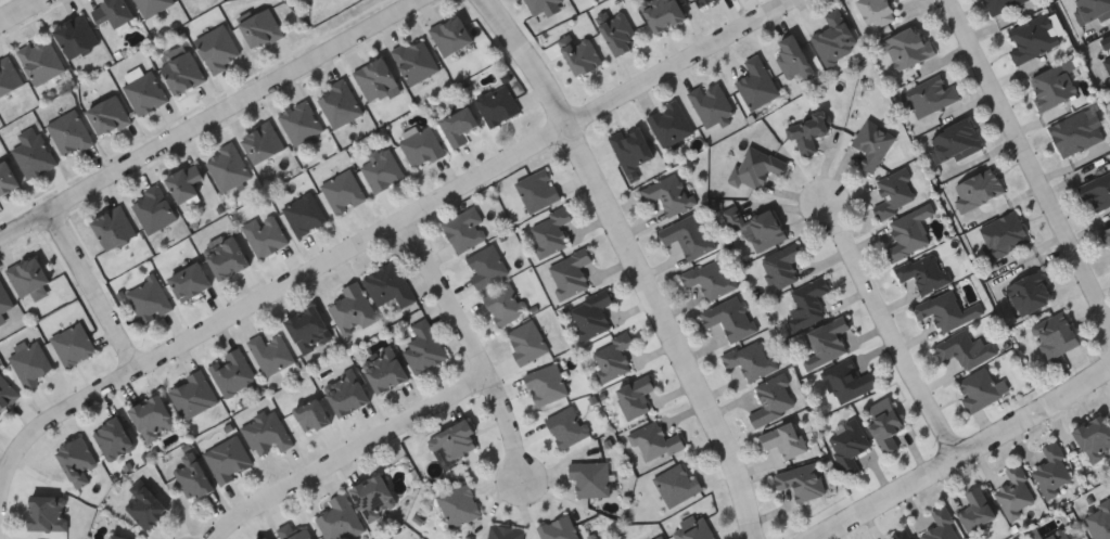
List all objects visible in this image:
building: (701, 2)
building: (152, 5)
building: (1000, 5)
building: (545, 7)
road: (15, 9)
building: (1093, 10)
building: (113, 11)
building: (876, 12)
building: (661, 13)
building: (260, 27)
building: (615, 30)
building: (451, 34)
building: (75, 35)
building: (1032, 37)
building: (833, 39)
building: (905, 47)
building: (218, 48)
building: (1106, 49)
building: (578, 52)
building: (40, 59)
building: (792, 59)
building: (416, 61)
building: (182, 72)
building: (9, 75)
building: (375, 77)
building: (755, 82)
building: (1055, 84)
building: (145, 92)
building: (930, 95)
building: (340, 103)
building: (710, 103)
building: (496, 104)
building: (109, 114)
road: (213, 116)
building: (301, 121)
building: (669, 123)
building: (457, 124)
building: (1076, 131)
building: (71, 132)
building: (806, 132)
building: (263, 141)
building: (954, 141)
building: (420, 144)
building: (872, 144)
building: (630, 146)
building: (35, 156)
road: (1026, 164)
building: (228, 166)
building: (755, 166)
building: (381, 168)
building: (7, 177)
building: (183, 181)
building: (977, 188)
building: (537, 190)
building: (343, 191)
building: (894, 192)
building: (1097, 192)
building: (667, 193)
building: (153, 208)
building: (304, 214)
building: (114, 227)
building: (464, 229)
building: (761, 229)
building: (550, 231)
road: (366, 233)
building: (908, 233)
building: (265, 234)
building: (1004, 234)
building: (687, 235)
building: (1107, 235)
building: (226, 255)
road: (633, 262)
building: (485, 265)
building: (780, 266)
building: (567, 273)
building: (924, 273)
building: (27, 275)
building: (709, 278)
building: (189, 280)
building: (388, 284)
road: (92, 286)
building: (1030, 292)
building: (4, 299)
building: (149, 299)
building: (503, 303)
building: (807, 303)
building: (352, 308)
building: (947, 309)
building: (589, 313)
building: (729, 318)
building: (307, 329)
road: (888, 329)
building: (1054, 335)
road: (475, 341)
building: (526, 342)
building: (826, 343)
building: (73, 344)
building: (423, 346)
building: (965, 349)
building: (270, 351)
building: (611, 356)
building: (750, 358)
building: (31, 363)
building: (383, 369)
building: (232, 371)
building: (846, 382)
building: (545, 383)
building: (980, 389)
building: (345, 393)
building: (7, 394)
building: (192, 394)
building: (634, 396)
building: (771, 399)
building: (310, 414)
building: (151, 416)
building: (884, 423)
building: (566, 426)
building: (266, 432)
building: (112, 437)
building: (1094, 437)
building: (454, 438)
building: (783, 439)
building: (655, 441)
building: (847, 444)
road: (342, 452)
road: (960, 453)
building: (227, 458)
building: (76, 460)
building: (1051, 470)
building: (192, 476)
building: (589, 477)
building: (801, 482)
building: (675, 483)
building: (1015, 492)
building: (372, 497)
building: (458, 504)
building: (144, 505)
building: (977, 510)
building: (46, 514)
building: (340, 519)
building: (1098, 521)
building: (940, 526)
building: (558, 528)
building: (692, 528)
building: (505, 531)
building: (294, 532)
building: (900, 535)
building: (1058, 535)
building: (117, 537)
building: (659, 537)
building: (267, 538)

